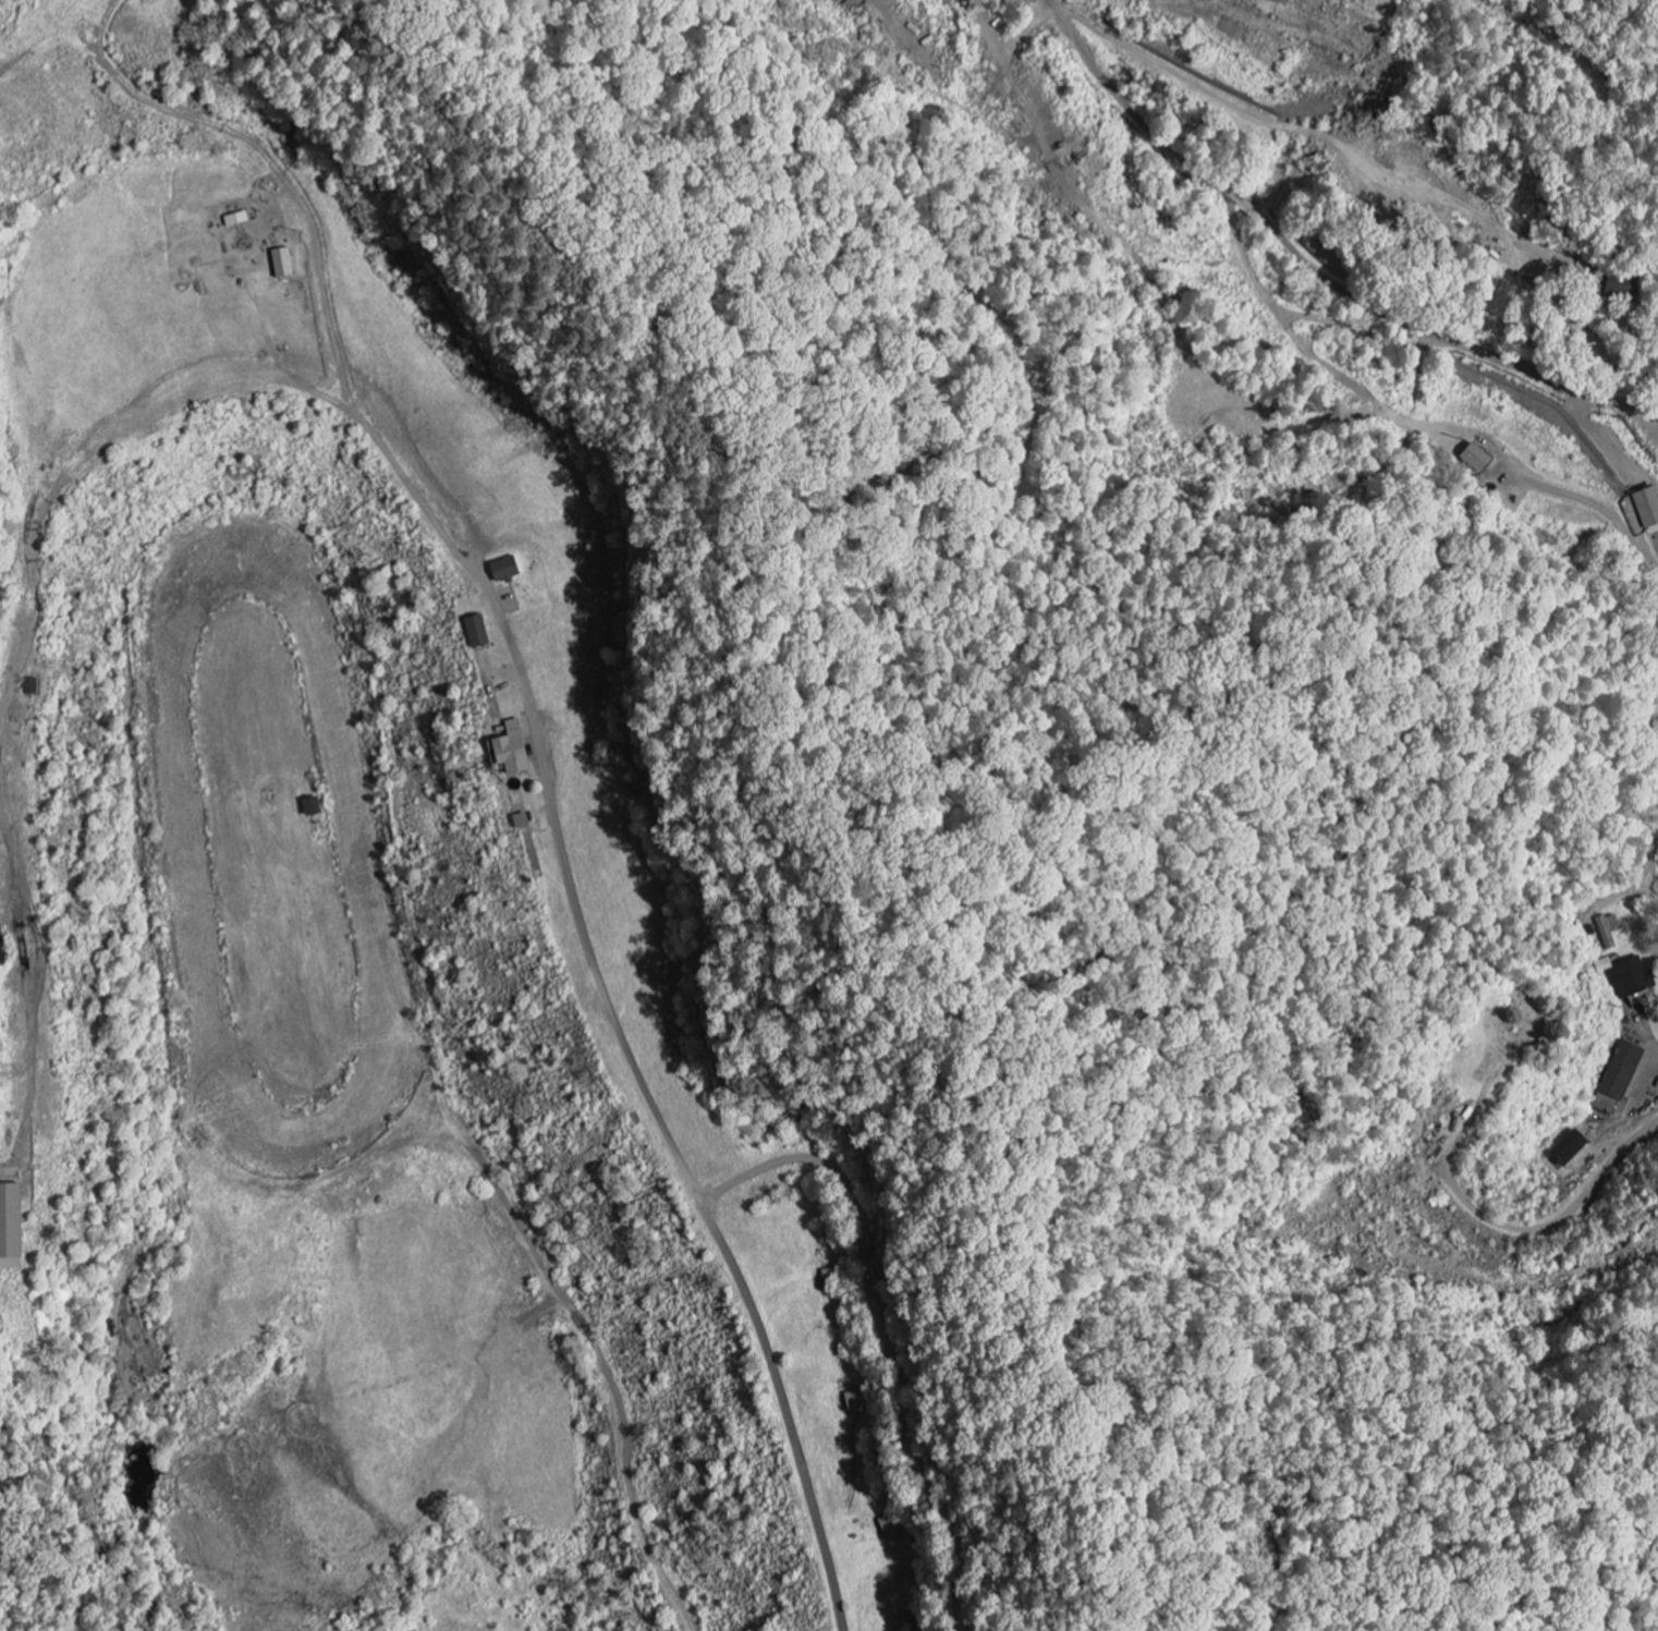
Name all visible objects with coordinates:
building: (280, 264)
road: (1312, 268)
building: (1622, 288)
road: (1570, 309)
building: (1474, 458)
building: (1647, 511)
building: (501, 571)
building: (473, 632)
building: (505, 752)
building: (307, 807)
building: (1607, 933)
building: (1625, 977)
building: (1621, 1072)
building: (1566, 1151)
building: (8, 1228)
building: (889, 1527)

